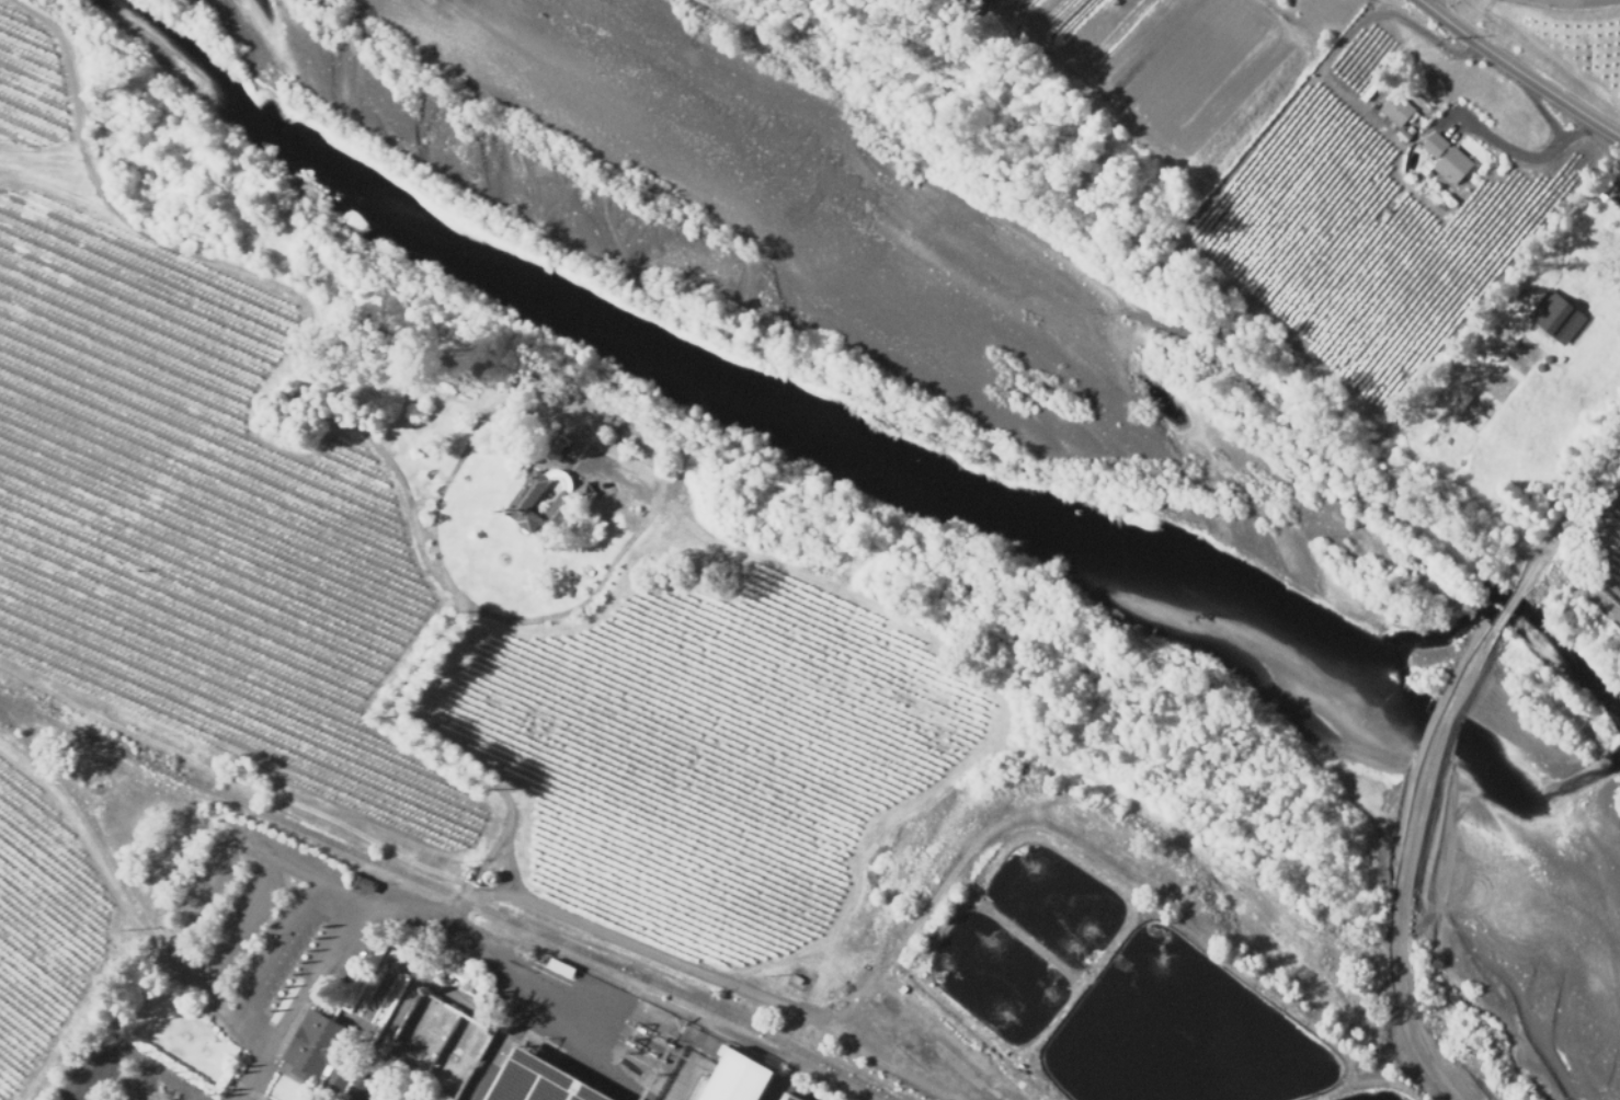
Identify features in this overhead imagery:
road: (1571, 0)
road: (1517, 72)
building: (1395, 108)
building: (1434, 144)
road: (1521, 157)
building: (1452, 165)
building: (1554, 317)
river: (863, 468)
road: (1607, 513)
road: (1565, 518)
road: (1503, 612)
road: (500, 620)
road: (1401, 818)
railway: (116, 882)
railway: (447, 894)
road: (507, 897)
road: (715, 983)
road: (518, 986)
road: (295, 996)
building: (320, 1051)
road: (1429, 1064)
building: (743, 1078)
road: (239, 1098)
road: (241, 1098)

